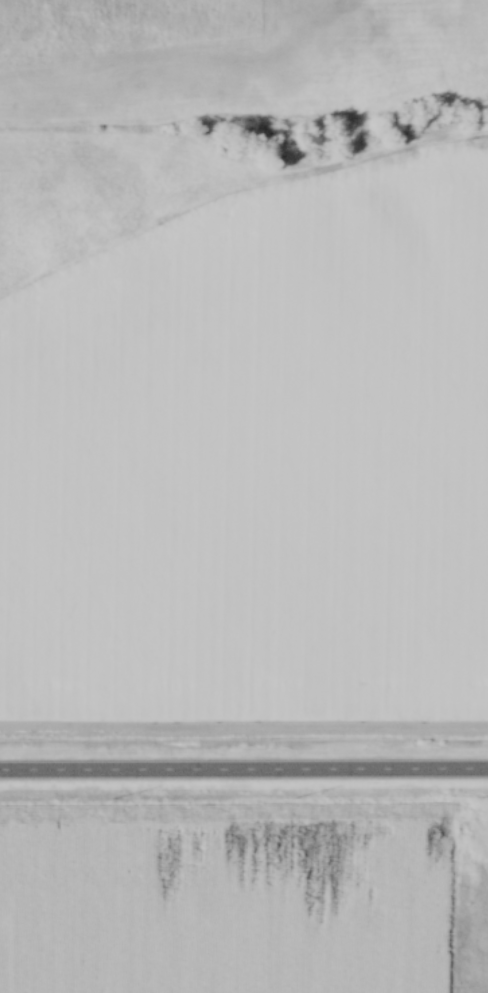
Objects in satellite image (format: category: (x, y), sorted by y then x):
road: (244, 767)

